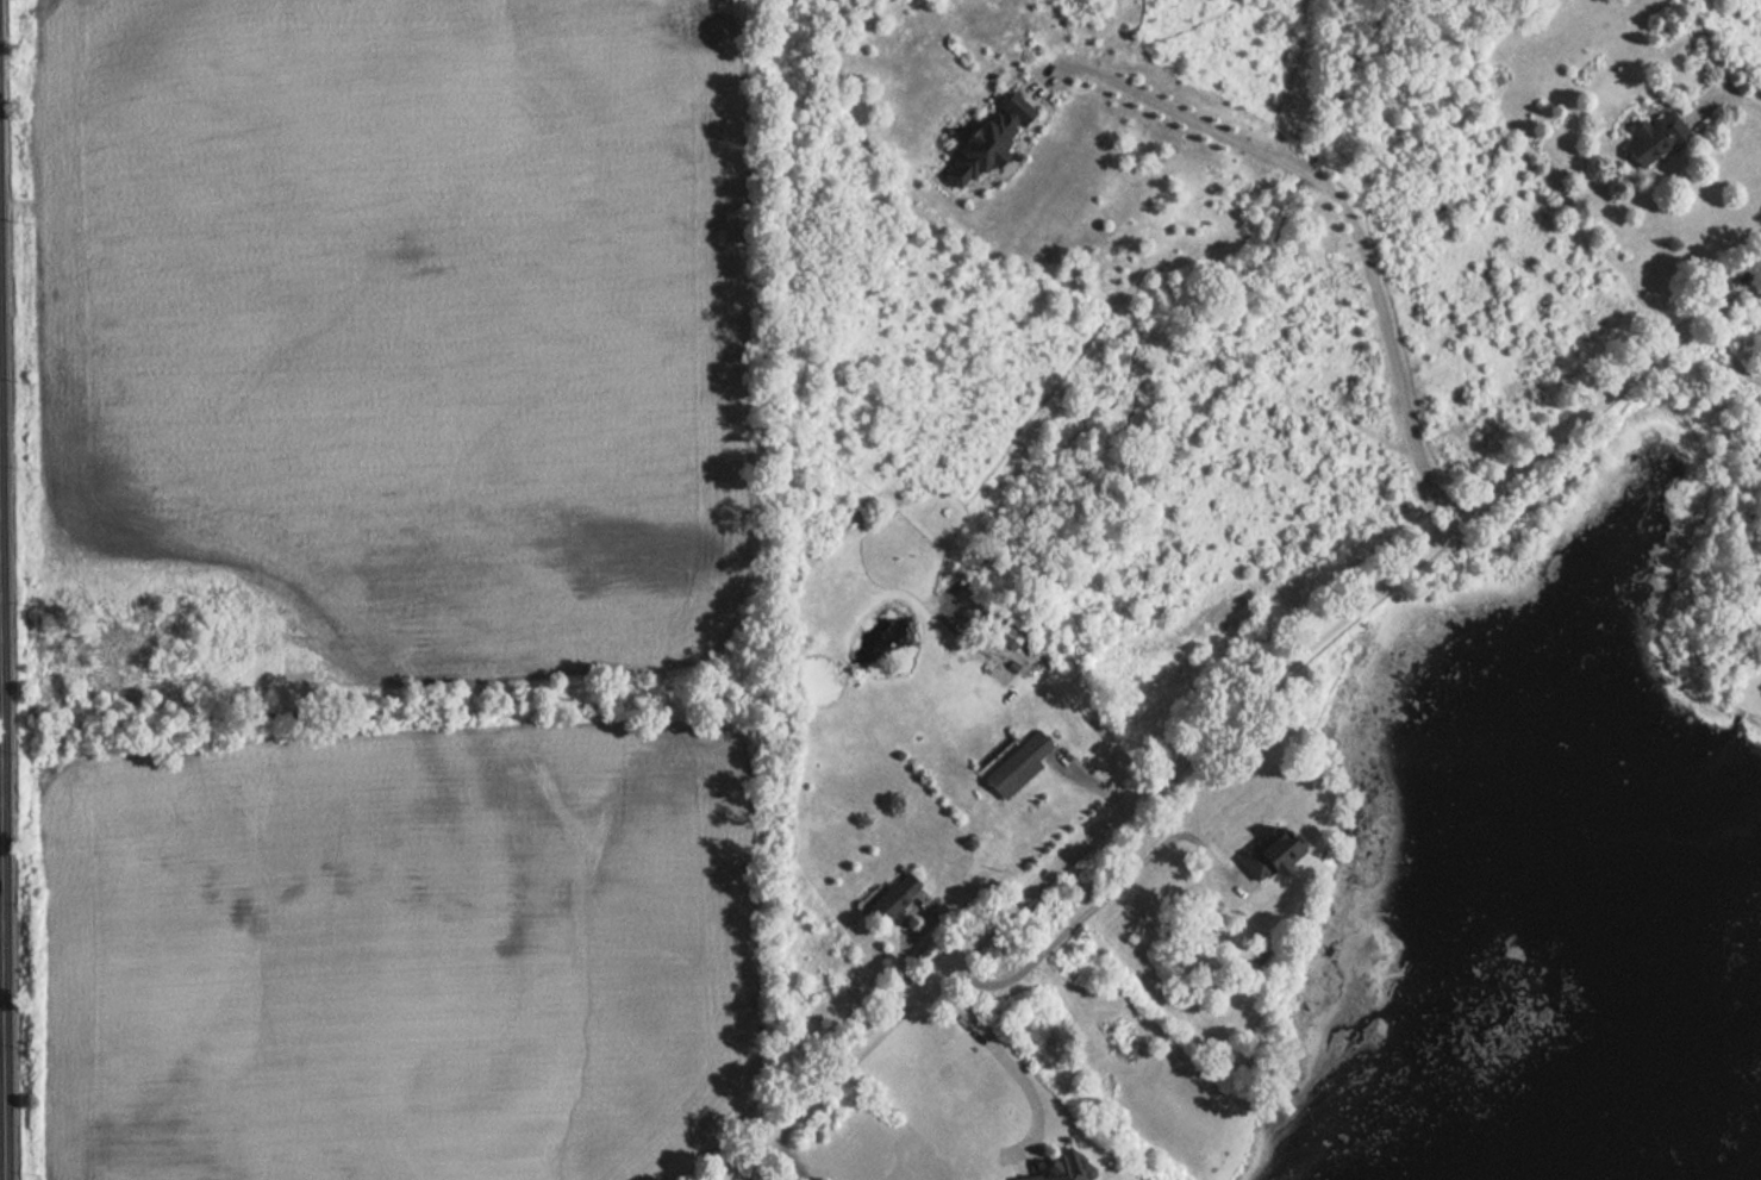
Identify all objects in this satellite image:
road: (1728, 98)
road: (1168, 99)
building: (1651, 138)
building: (978, 145)
road: (1311, 169)
crop: (396, 318)
road: (1392, 346)
road: (1239, 717)
building: (1013, 763)
road: (5, 808)
building: (1266, 855)
building: (891, 898)
road: (1093, 907)
crop: (404, 959)
road: (1, 1032)
road: (1, 1059)
road: (1003, 1062)
road: (788, 1159)
building: (1047, 1170)
road: (749, 1173)

